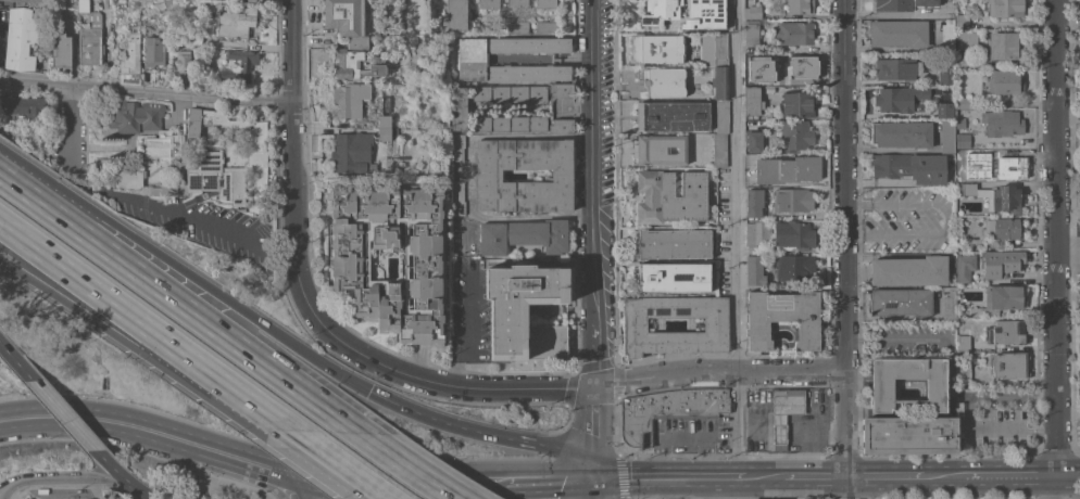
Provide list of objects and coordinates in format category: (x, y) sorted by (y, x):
building: (251, 0)
building: (33, 1)
building: (489, 4)
building: (517, 4)
building: (545, 4)
building: (902, 4)
building: (74, 5)
building: (796, 7)
building: (1005, 8)
building: (660, 11)
building: (753, 12)
building: (705, 14)
building: (346, 15)
building: (455, 15)
building: (980, 15)
building: (962, 21)
building: (236, 23)
building: (517, 26)
building: (545, 26)
building: (794, 33)
building: (897, 34)
building: (89, 36)
building: (751, 36)
building: (947, 36)
building: (20, 39)
building: (193, 39)
building: (966, 39)
building: (356, 42)
building: (1003, 46)
building: (153, 49)
building: (657, 49)
building: (60, 50)
building: (720, 50)
building: (130, 51)
building: (529, 57)
building: (755, 57)
building: (497, 59)
building: (183, 60)
building: (473, 60)
building: (963, 60)
building: (243, 63)
building: (354, 65)
building: (793, 66)
building: (895, 68)
building: (944, 76)
building: (662, 81)
building: (1005, 81)
building: (719, 82)
building: (561, 90)
road: (146, 93)
building: (508, 93)
building: (350, 99)
building: (897, 99)
building: (753, 101)
building: (962, 102)
building: (798, 104)
building: (25, 107)
building: (457, 108)
building: (943, 111)
building: (135, 116)
building: (671, 116)
building: (721, 116)
building: (384, 121)
building: (1001, 123)
road: (71, 124)
building: (508, 124)
building: (959, 124)
building: (561, 126)
building: (902, 133)
building: (384, 135)
building: (795, 135)
building: (947, 136)
building: (754, 140)
building: (962, 141)
building: (160, 146)
building: (658, 150)
building: (719, 150)
building: (352, 152)
building: (204, 161)
building: (1002, 163)
building: (909, 167)
building: (787, 169)
road: (78, 172)
road: (469, 174)
building: (487, 174)
building: (963, 174)
building: (126, 178)
road: (876, 181)
building: (965, 189)
road: (596, 193)
building: (670, 196)
road: (1058, 196)
building: (456, 199)
building: (792, 200)
building: (1005, 200)
building: (753, 203)
road: (179, 212)
road: (945, 217)
building: (820, 227)
building: (1004, 228)
road: (1079, 229)
building: (757, 233)
building: (793, 234)
building: (523, 235)
road: (738, 238)
building: (674, 243)
road: (282, 246)
building: (753, 250)
road: (843, 250)
building: (1000, 264)
building: (428, 266)
building: (793, 267)
building: (964, 267)
building: (754, 270)
building: (911, 271)
road: (186, 274)
building: (673, 277)
building: (1079, 294)
building: (1000, 299)
building: (901, 302)
road: (178, 303)
building: (950, 304)
road: (309, 307)
building: (525, 312)
road: (467, 317)
building: (782, 318)
building: (635, 324)
road: (141, 327)
building: (1005, 332)
building: (963, 342)
road: (137, 351)
road: (15, 362)
building: (1008, 364)
road: (718, 373)
building: (963, 373)
road: (468, 376)
traffic signals: (594, 387)
building: (881, 388)
traffic signals: (369, 393)
building: (1006, 397)
road: (966, 409)
road: (1060, 409)
building: (666, 410)
building: (784, 413)
road: (61, 414)
road: (100, 420)
road: (593, 431)
road: (482, 434)
road: (682, 434)
building: (908, 435)
road: (1060, 449)
road: (140, 450)
road: (247, 461)
road: (331, 463)
road: (406, 466)
road: (401, 469)
road: (114, 472)
road: (1070, 473)
traffic signals: (297, 474)
road: (1013, 474)
traffic signals: (592, 475)
road: (942, 475)
road: (549, 476)
road: (665, 476)
road: (761, 476)
road: (814, 476)
road: (882, 476)
road: (67, 477)
road: (477, 483)
road: (372, 485)
road: (297, 486)
road: (1051, 486)
road: (592, 487)
road: (649, 487)
road: (696, 487)
road: (432, 494)
road: (143, 496)

